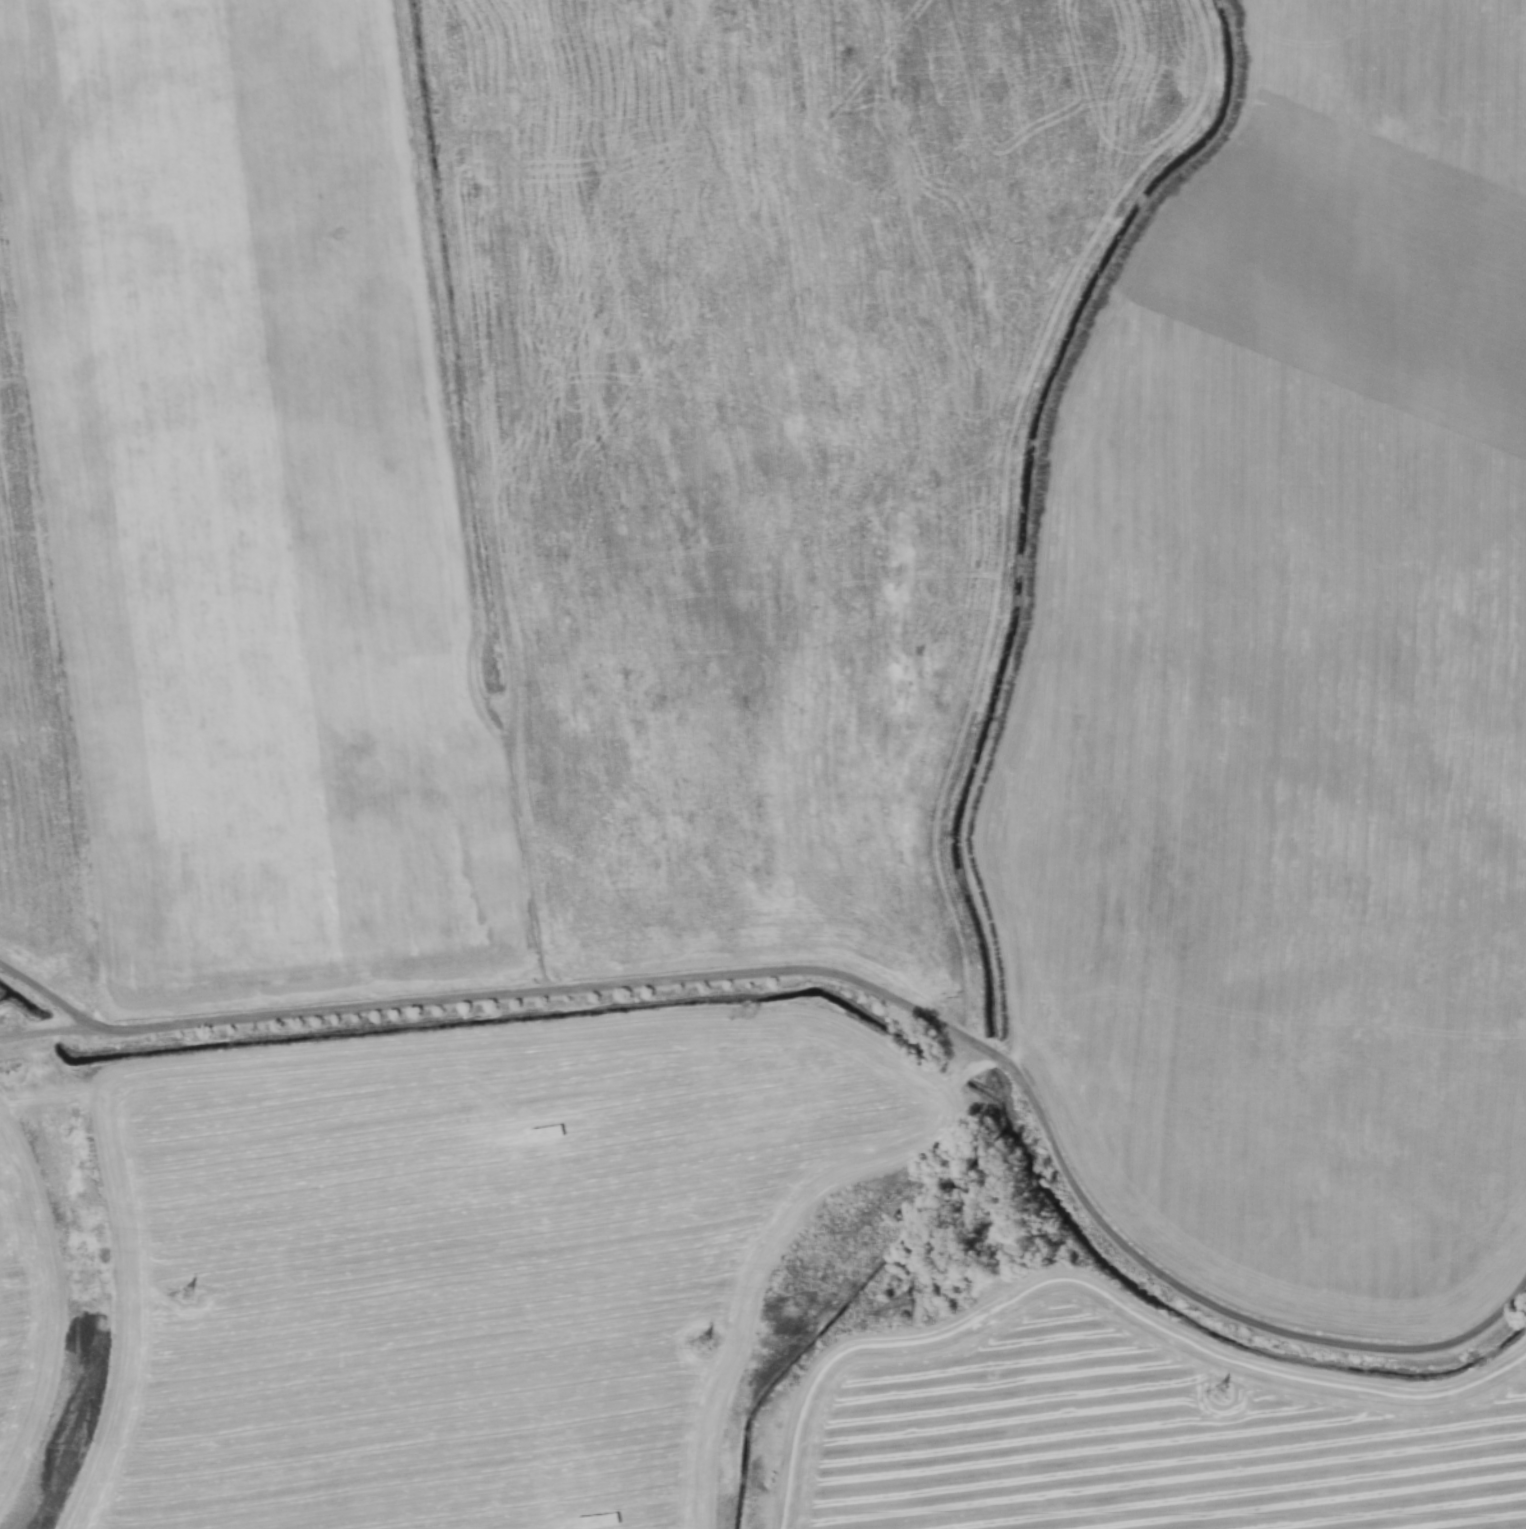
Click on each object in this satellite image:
power tower: (187, 1297)
power tower: (902, 1315)
power tower: (706, 1347)
power tower: (1217, 1393)

